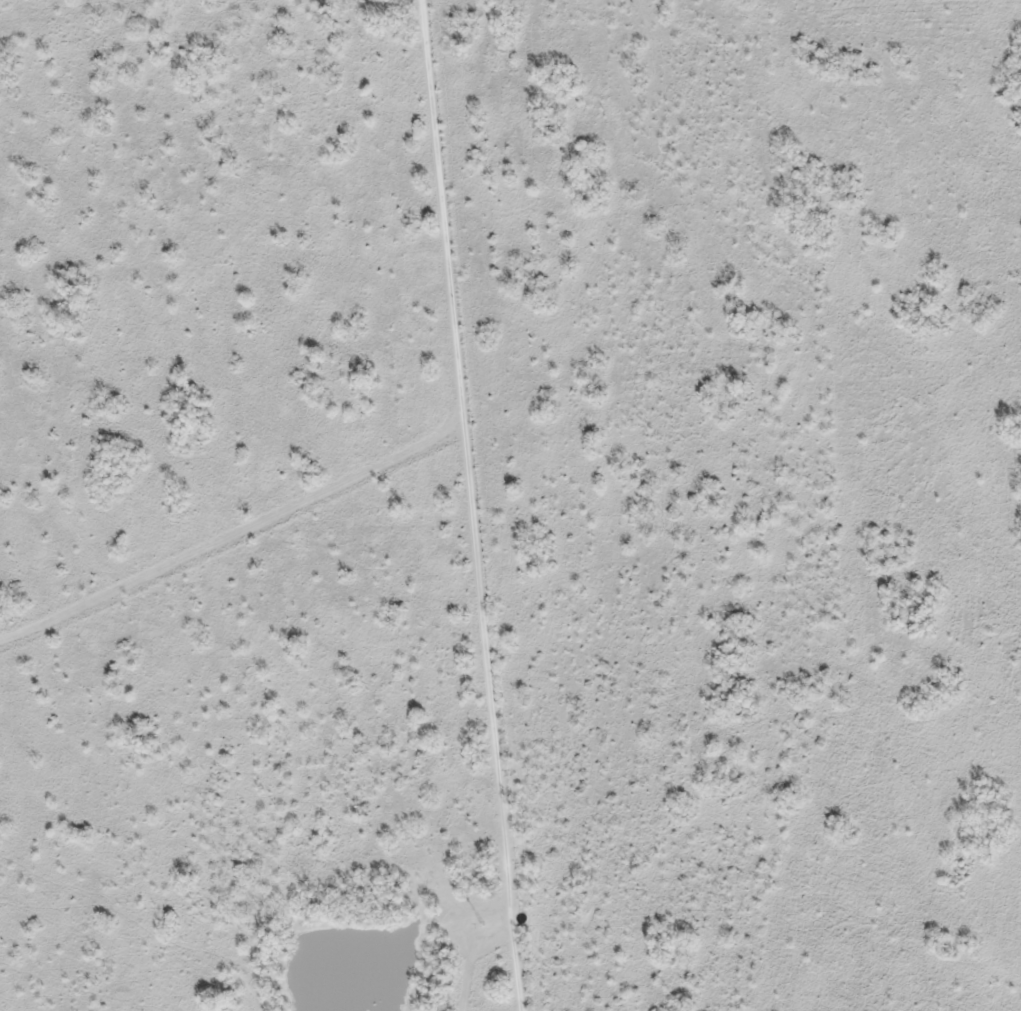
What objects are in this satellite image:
road: (659, 490)

